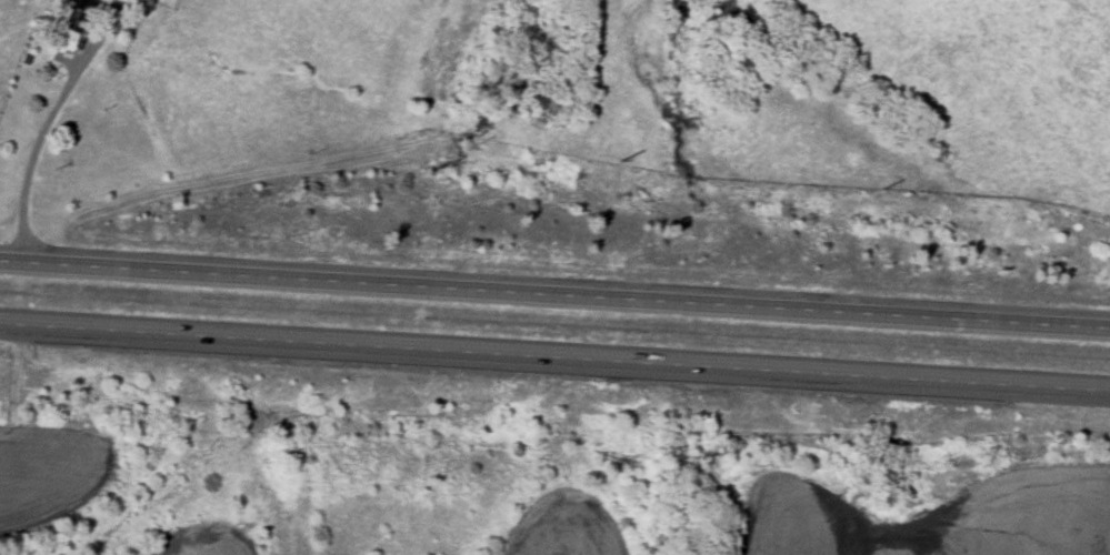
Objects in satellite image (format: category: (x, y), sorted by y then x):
building: (84, 14)
road: (46, 122)
road: (554, 286)
road: (554, 350)
crop: (53, 473)
crop: (563, 525)
crop: (201, 541)

